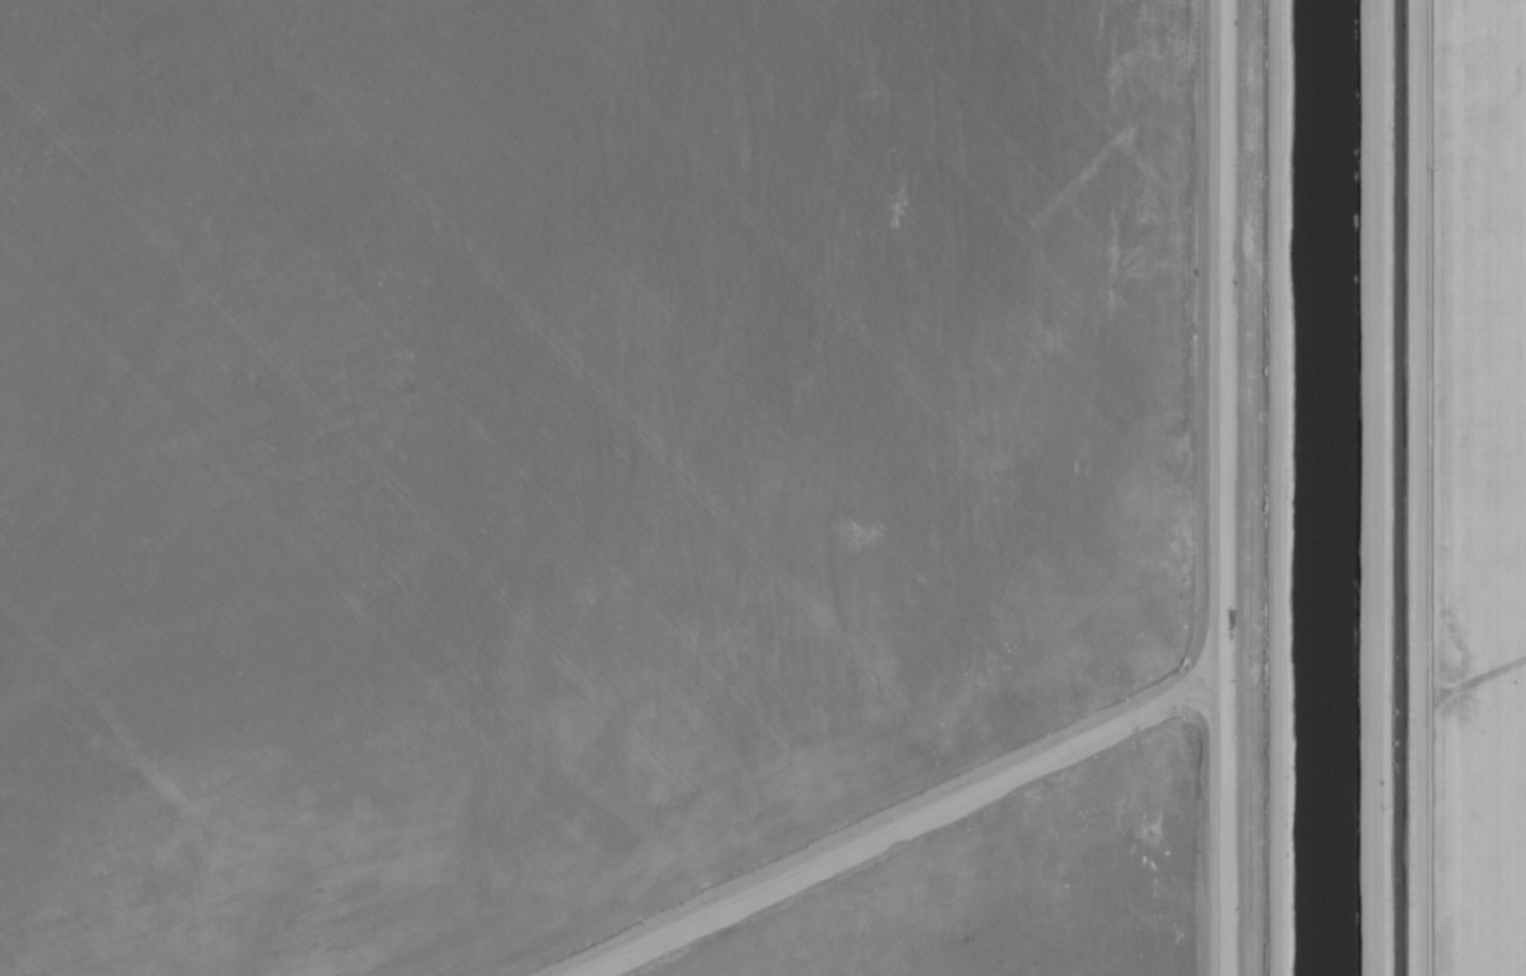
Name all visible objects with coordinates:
road: (1345, 488)

